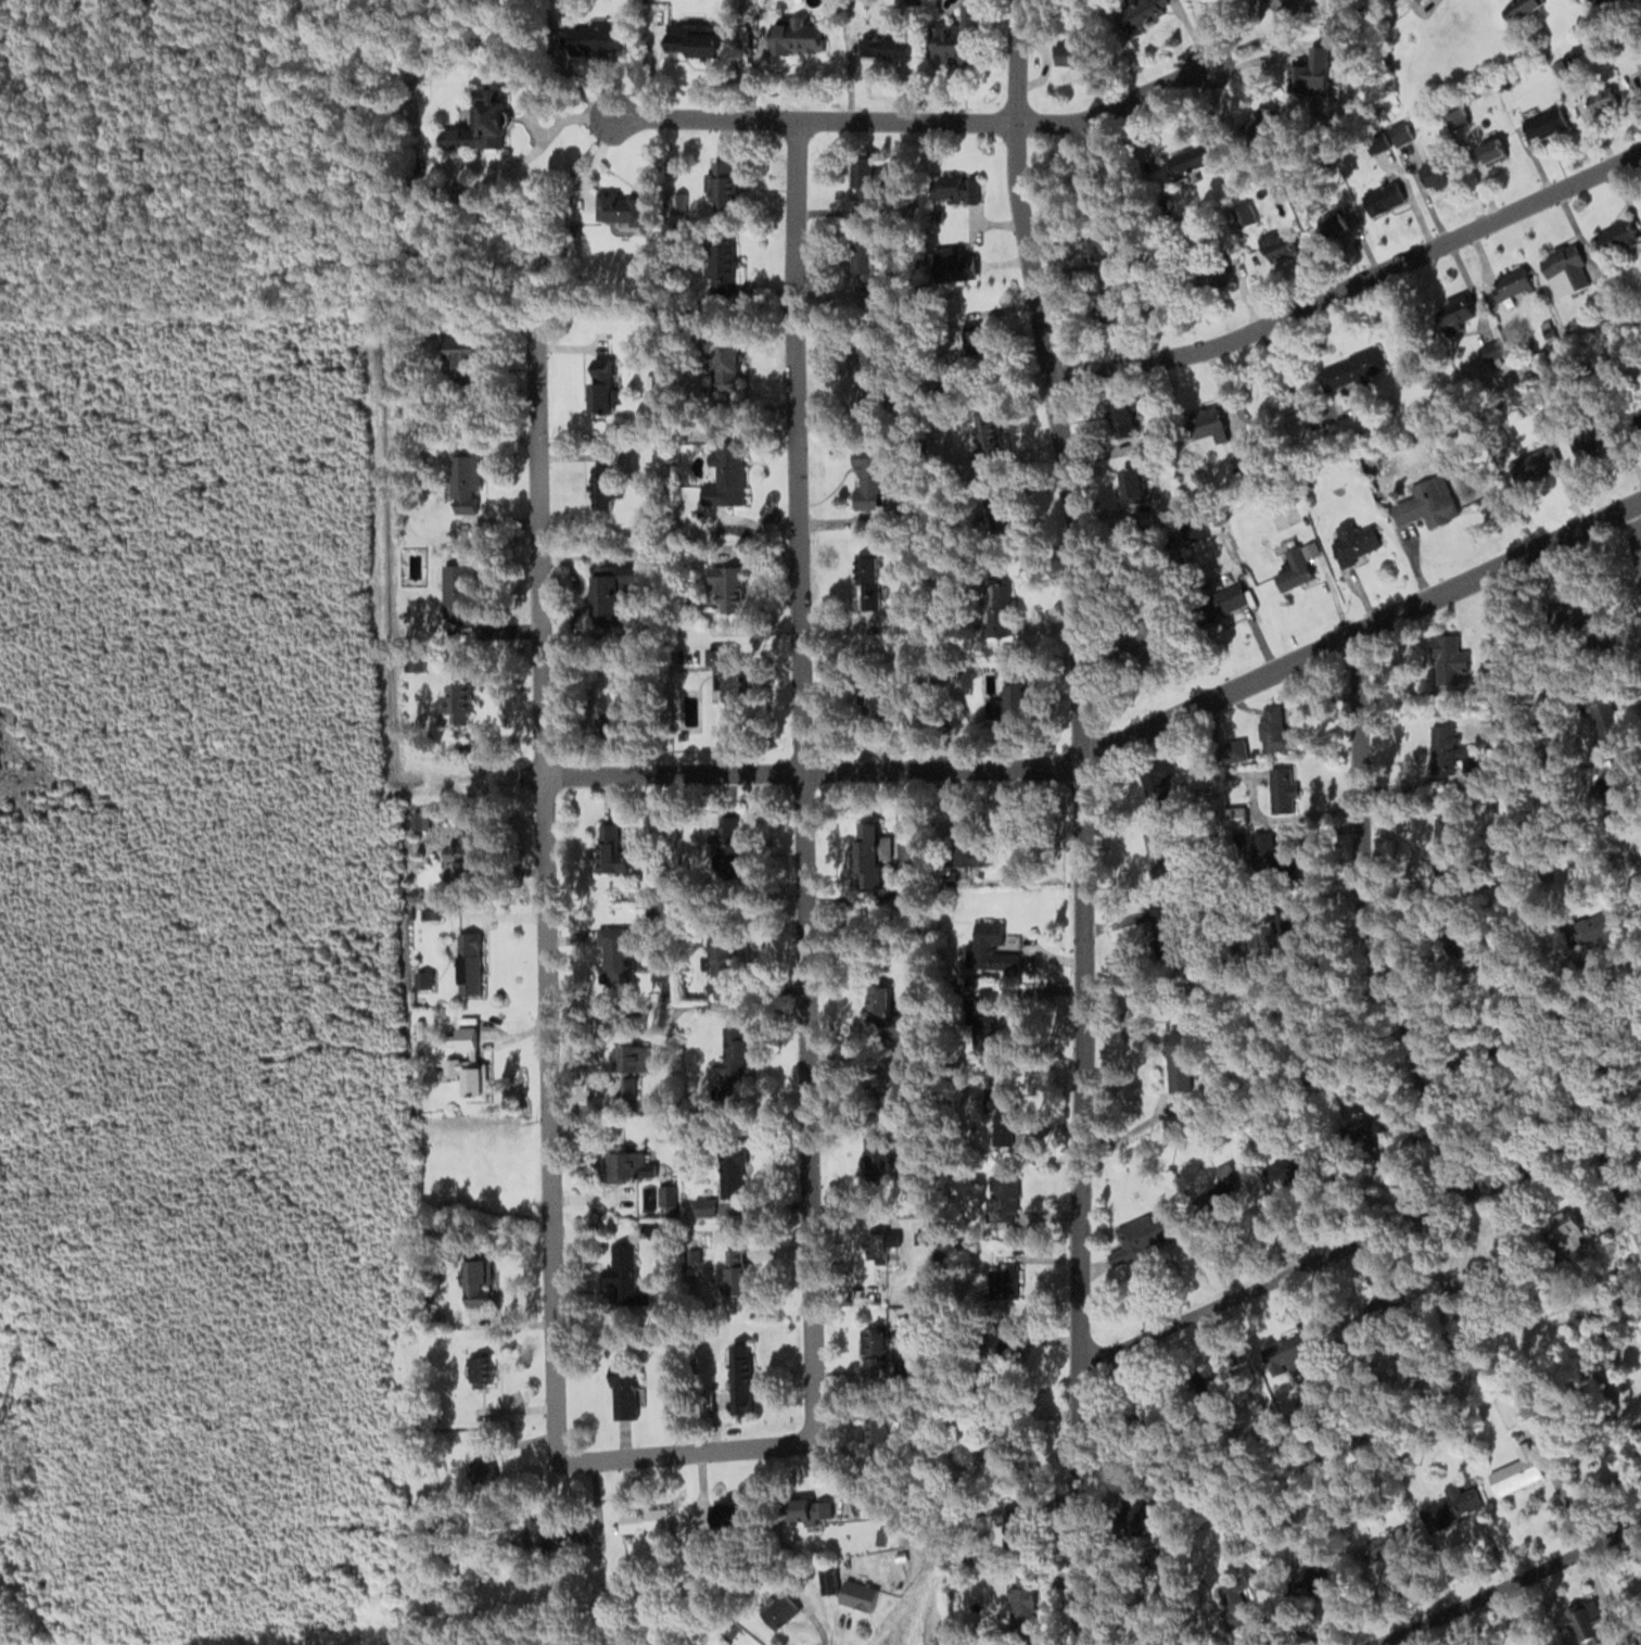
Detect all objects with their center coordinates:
building: (1416, 0)
building: (1283, 5)
building: (1518, 9)
building: (1144, 13)
building: (793, 35)
building: (959, 38)
building: (594, 39)
building: (694, 41)
building: (889, 46)
building: (1071, 53)
building: (1310, 71)
building: (1639, 72)
building: (1603, 101)
building: (1257, 121)
building: (480, 122)
road: (914, 122)
building: (1543, 123)
building: (1407, 147)
building: (1490, 149)
building: (1193, 161)
building: (1437, 172)
building: (868, 181)
building: (718, 185)
building: (944, 190)
building: (1383, 199)
building: (620, 207)
building: (1615, 237)
building: (722, 264)
building: (865, 265)
building: (1564, 270)
building: (1208, 280)
road: (1350, 281)
building: (1510, 283)
building: (1106, 309)
building: (1466, 324)
building: (461, 360)
building: (726, 366)
building: (1350, 370)
building: (601, 385)
building: (1120, 418)
building: (1204, 422)
building: (1598, 442)
building: (1243, 448)
building: (1538, 461)
building: (725, 477)
building: (462, 481)
building: (867, 481)
building: (1133, 484)
building: (600, 486)
building: (1425, 508)
building: (1283, 516)
road: (1637, 532)
building: (1353, 542)
building: (1292, 566)
building: (868, 581)
building: (612, 587)
building: (725, 587)
building: (458, 591)
building: (1593, 612)
building: (1450, 660)
building: (1492, 662)
building: (725, 680)
building: (614, 696)
building: (454, 700)
building: (1607, 720)
building: (1273, 729)
road: (1118, 747)
road: (472, 774)
road: (803, 780)
building: (1281, 788)
road: (1081, 820)
building: (1445, 842)
building: (462, 845)
building: (727, 845)
building: (610, 846)
building: (1165, 849)
building: (869, 856)
road: (547, 887)
road: (1364, 923)
building: (1599, 924)
building: (991, 948)
building: (612, 953)
building: (721, 957)
building: (468, 962)
building: (883, 1012)
building: (979, 1022)
road: (1536, 1032)
building: (730, 1054)
building: (1176, 1062)
building: (465, 1068)
building: (619, 1083)
building: (1000, 1112)
building: (1375, 1134)
building: (877, 1160)
building: (618, 1163)
building: (1290, 1168)
building: (730, 1172)
road: (1620, 1177)
building: (1220, 1186)
building: (1001, 1192)
building: (1140, 1236)
building: (875, 1243)
road: (1335, 1251)
building: (735, 1269)
building: (621, 1271)
building: (1002, 1281)
building: (475, 1283)
building: (873, 1340)
building: (1292, 1355)
building: (474, 1368)
building: (899, 1375)
building: (738, 1377)
building: (622, 1394)
building: (877, 1438)
road: (684, 1451)
building: (479, 1467)
building: (1516, 1471)
building: (812, 1508)
building: (1451, 1508)
building: (729, 1513)
building: (651, 1518)
building: (547, 1533)
building: (1311, 1582)
road: (1516, 1592)
building: (856, 1594)
building: (1234, 1597)
building: (1020, 1607)
building: (777, 1609)
building: (1586, 1619)
building: (1623, 1643)
building: (729, 1644)

